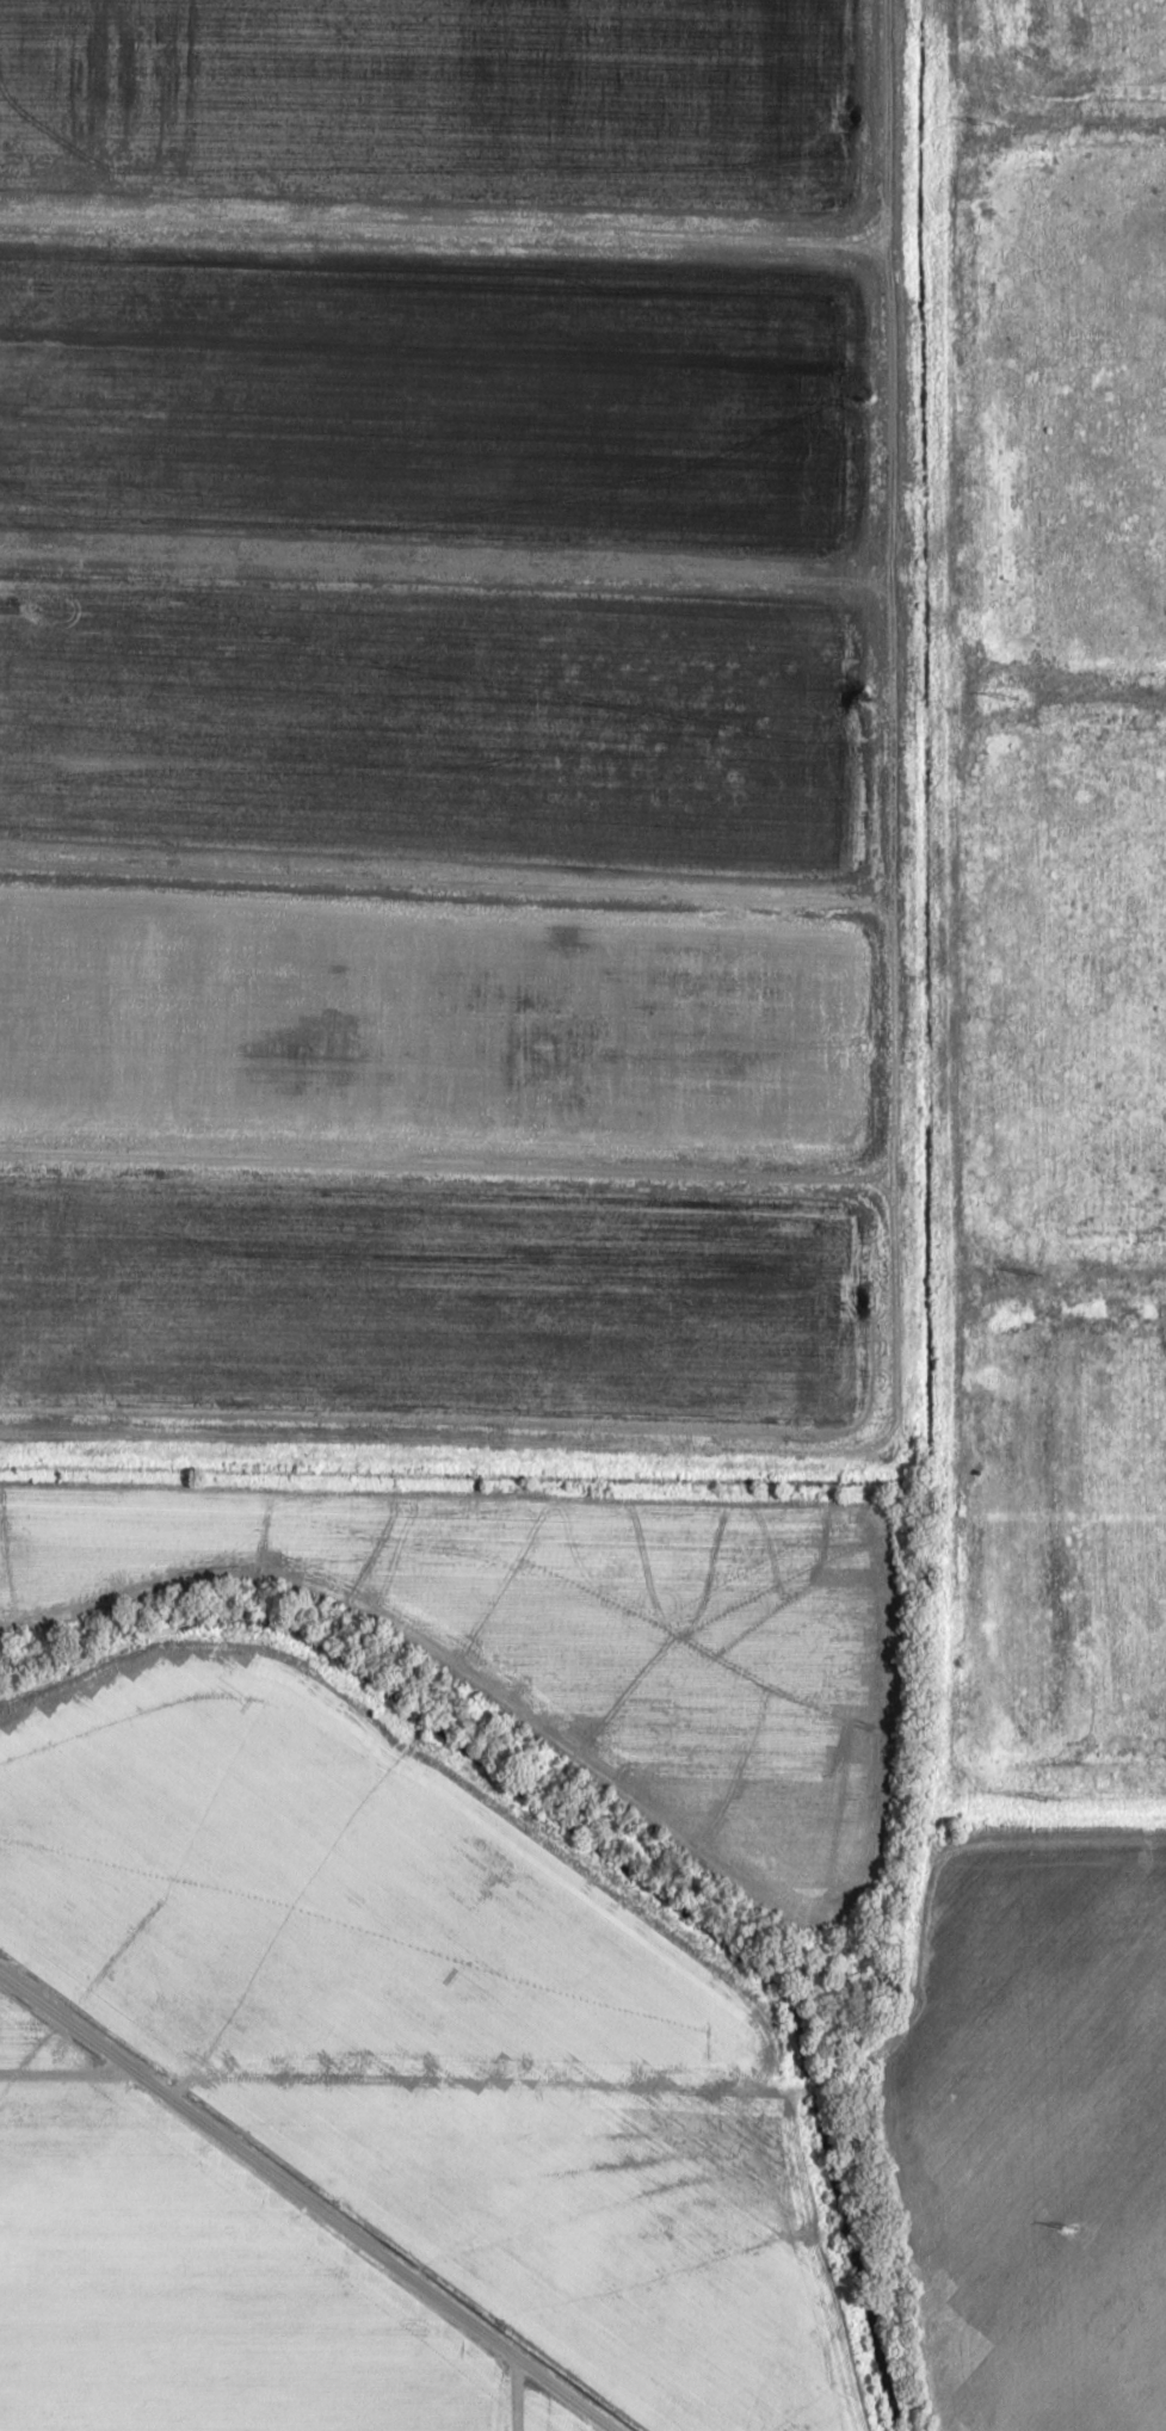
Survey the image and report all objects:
power tower: (987, 123)
power tower: (1008, 698)
power tower: (1031, 1276)
power tower: (1050, 1798)
road: (309, 2199)
power tower: (1067, 2227)

